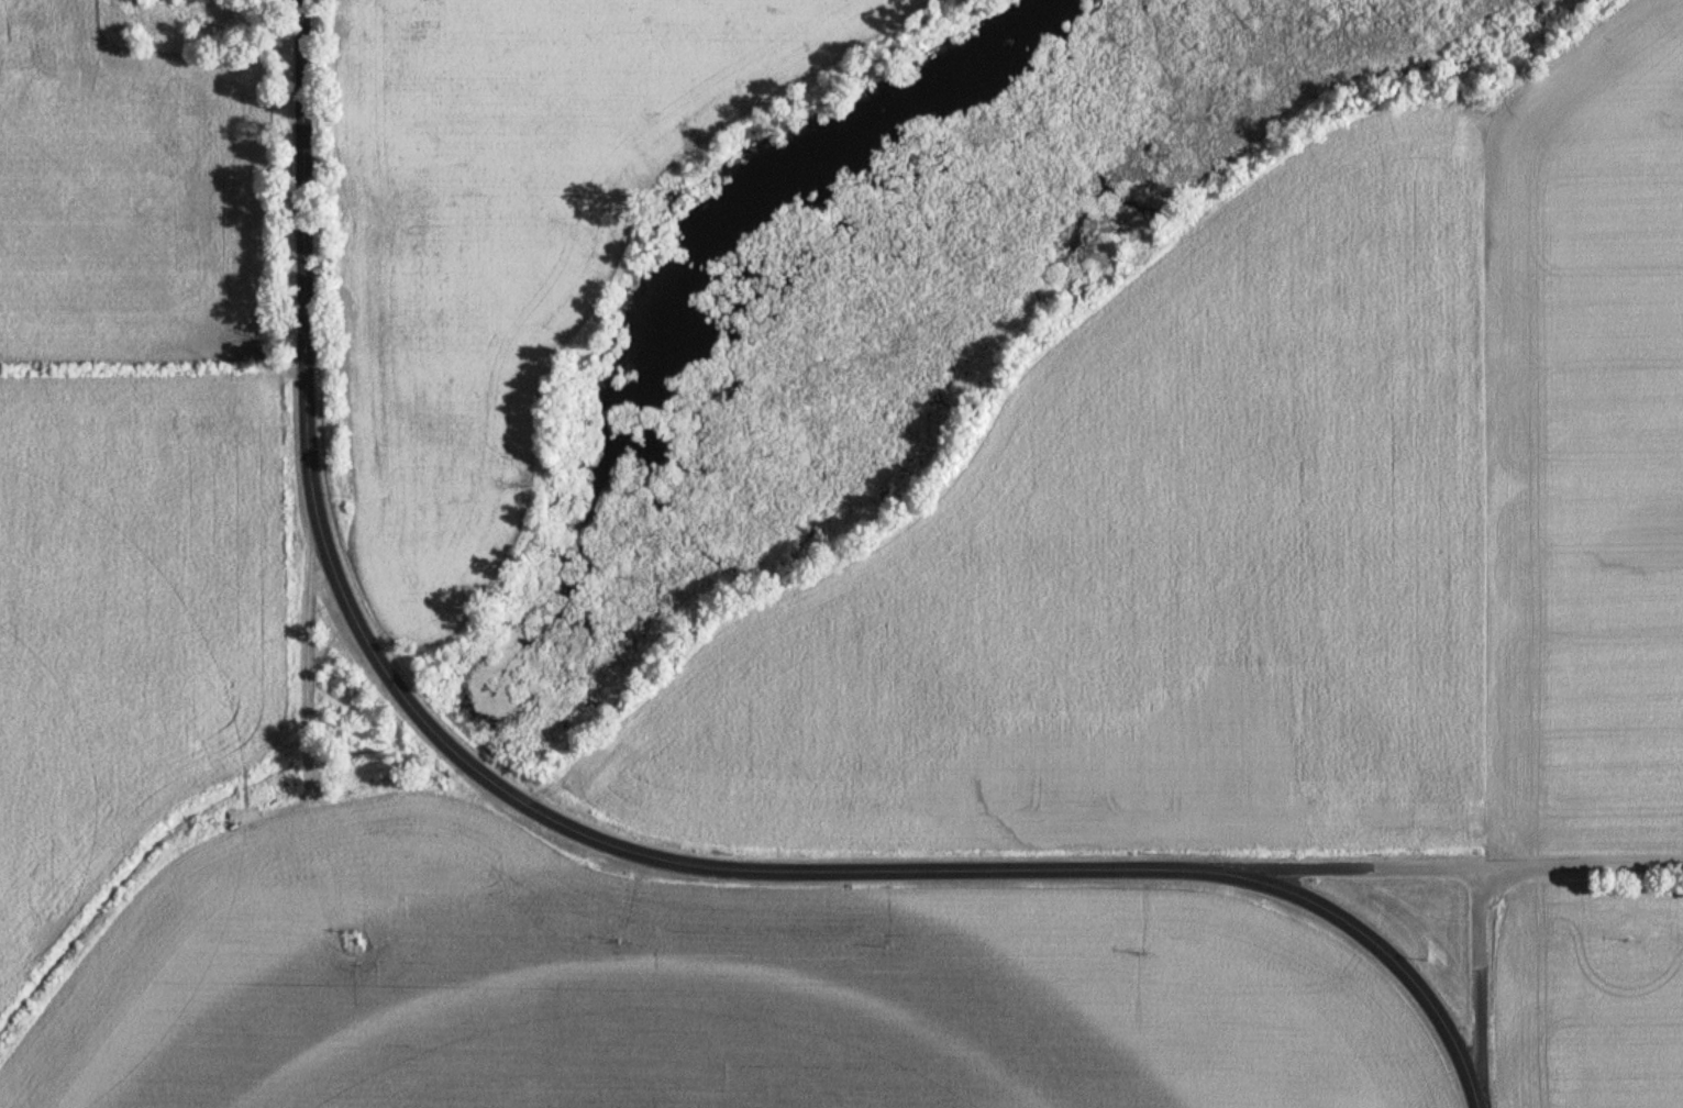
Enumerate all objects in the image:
road: (612, 846)
road: (1466, 871)
road: (1477, 984)

